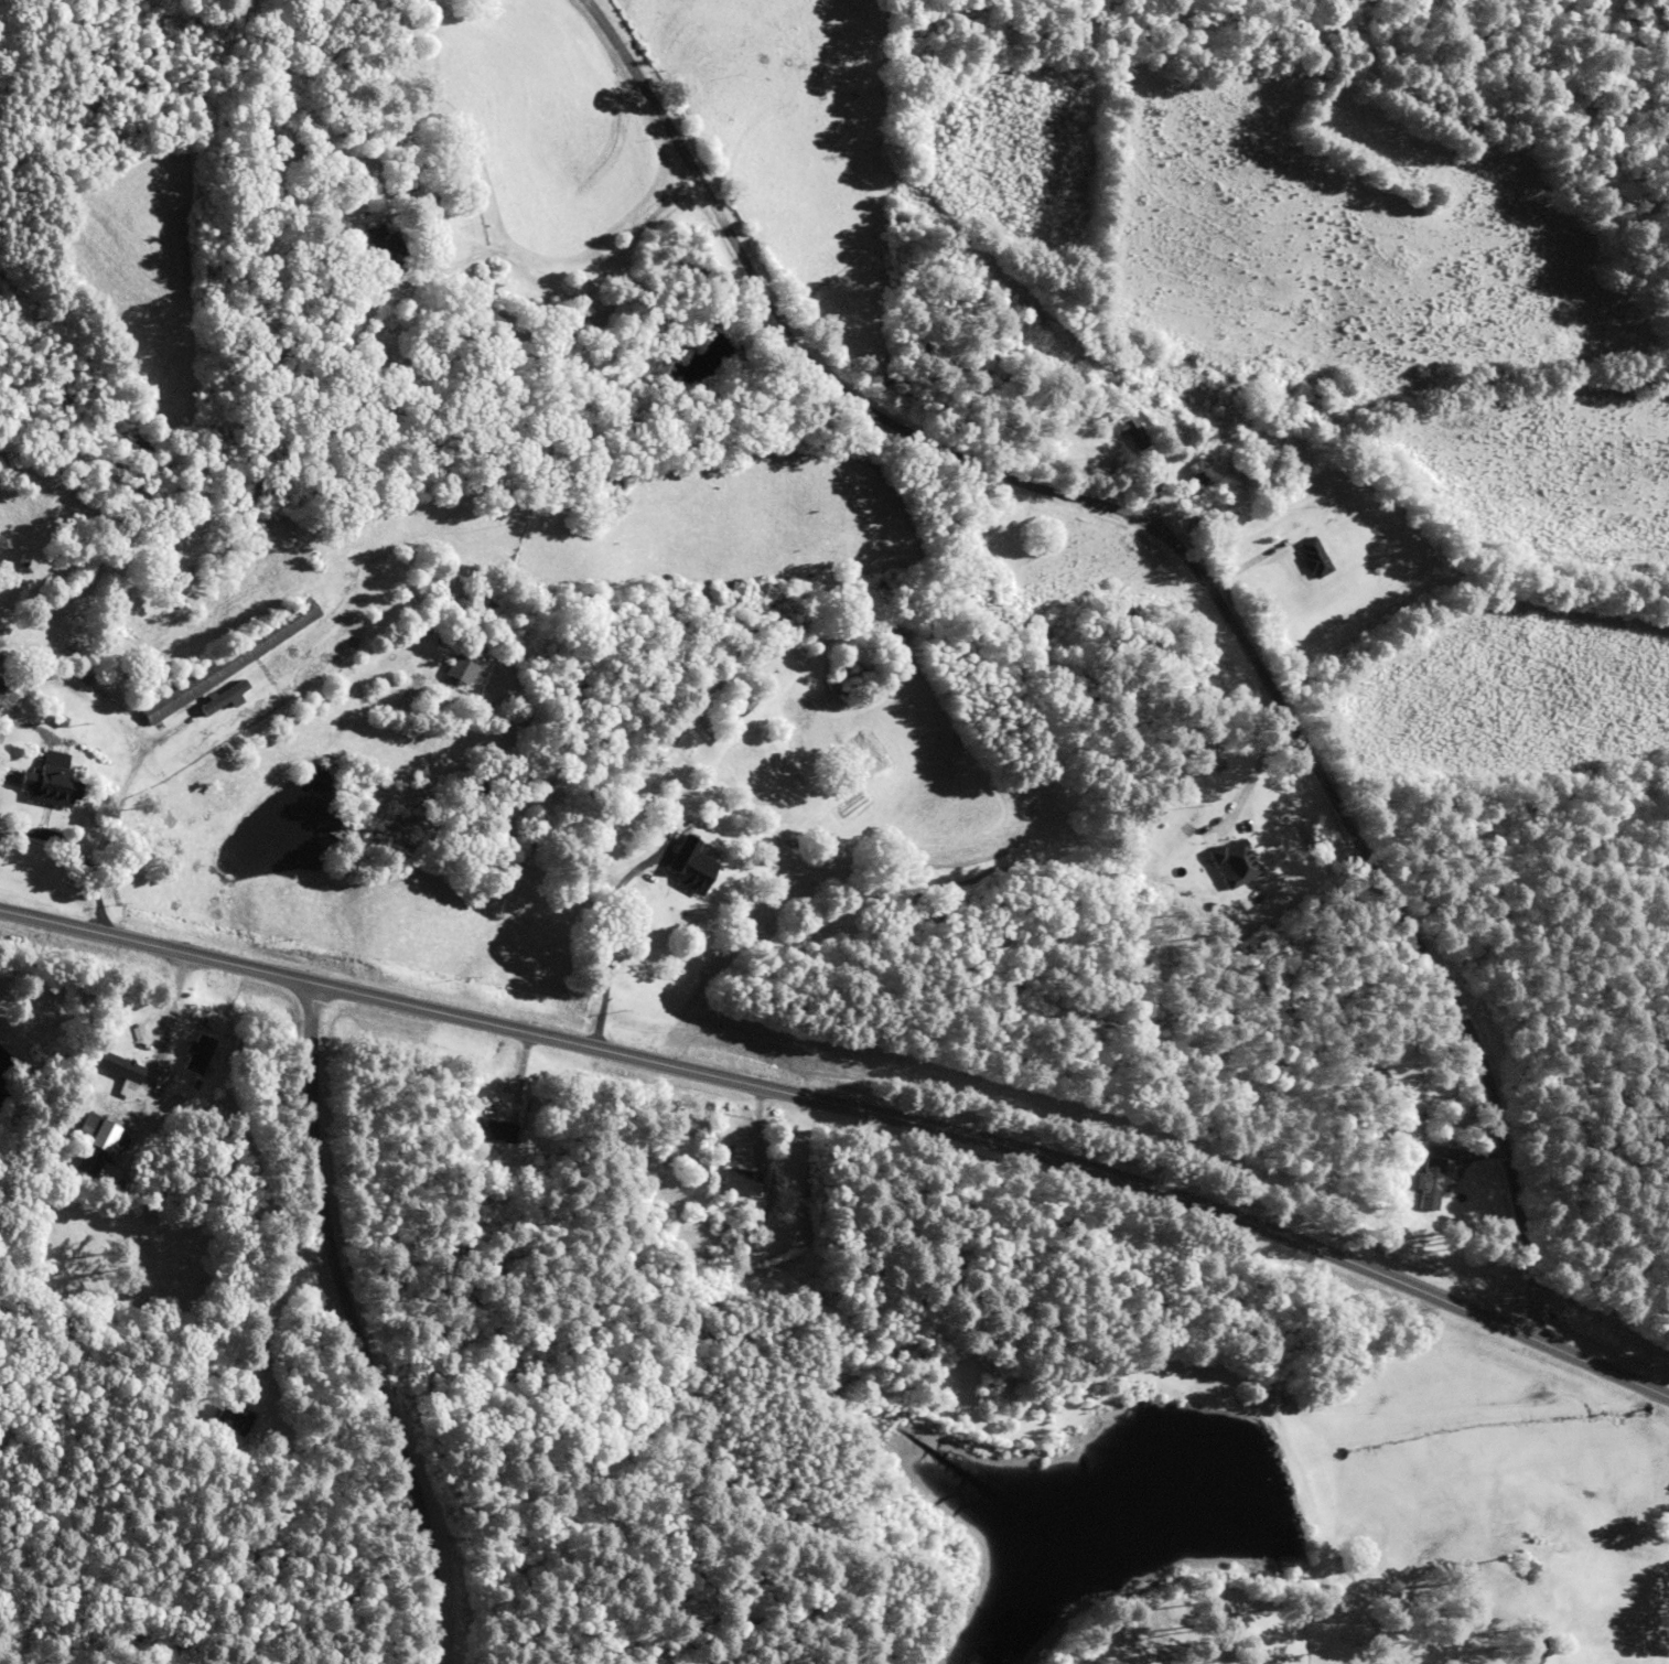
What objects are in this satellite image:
building: (377, 255)
building: (267, 355)
building: (1196, 483)
building: (1313, 556)
road: (1188, 566)
building: (225, 661)
building: (460, 670)
building: (287, 683)
building: (6, 695)
building: (750, 707)
building: (47, 785)
building: (1231, 862)
building: (692, 868)
building: (116, 1072)
building: (1366, 1074)
road: (854, 1086)
building: (489, 1130)
building: (86, 1141)
building: (734, 1181)
building: (1426, 1183)
road: (368, 1324)
building: (227, 1420)
road: (267, 1452)

